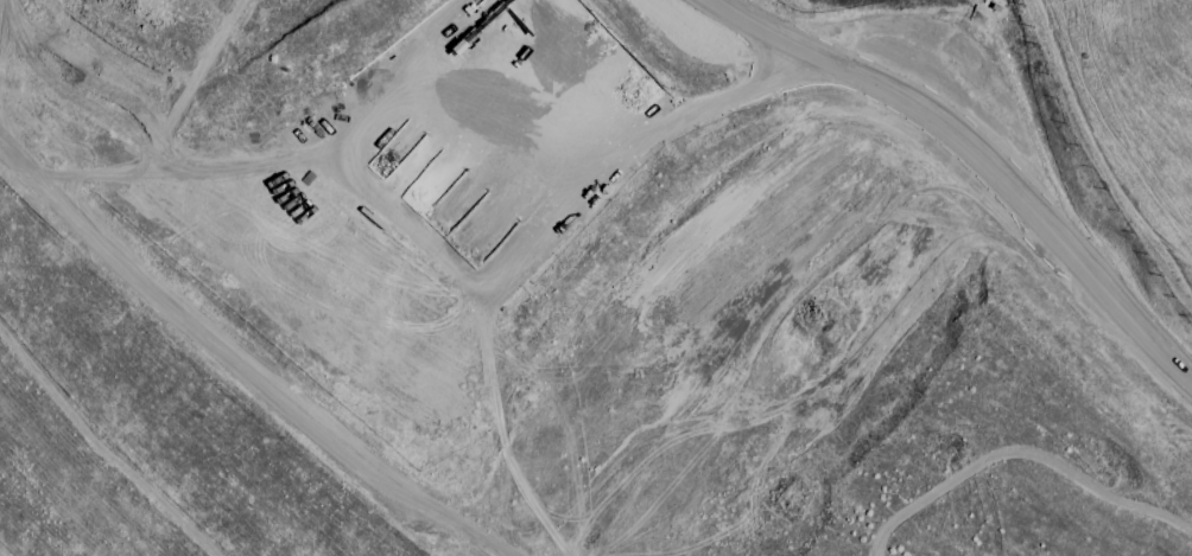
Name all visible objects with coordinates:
road: (883, 102)
landfill: (562, 288)

